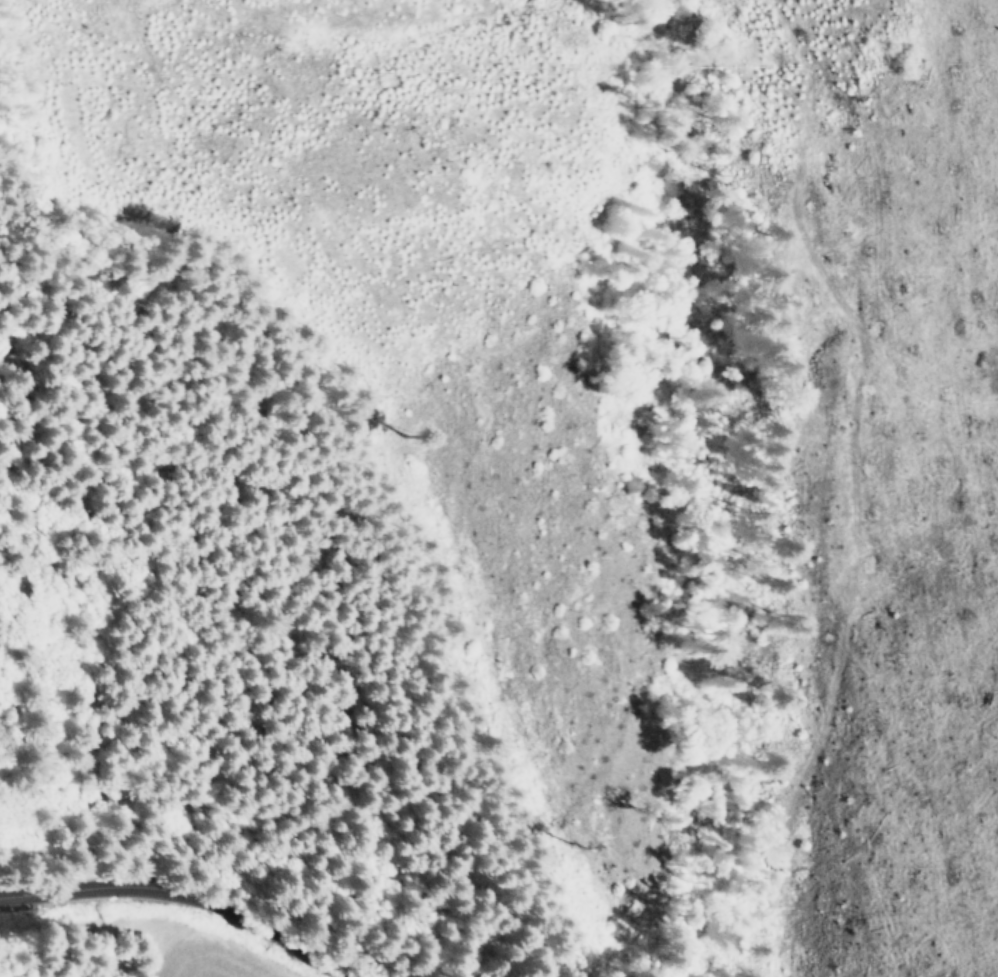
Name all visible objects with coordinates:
road: (174, 902)

